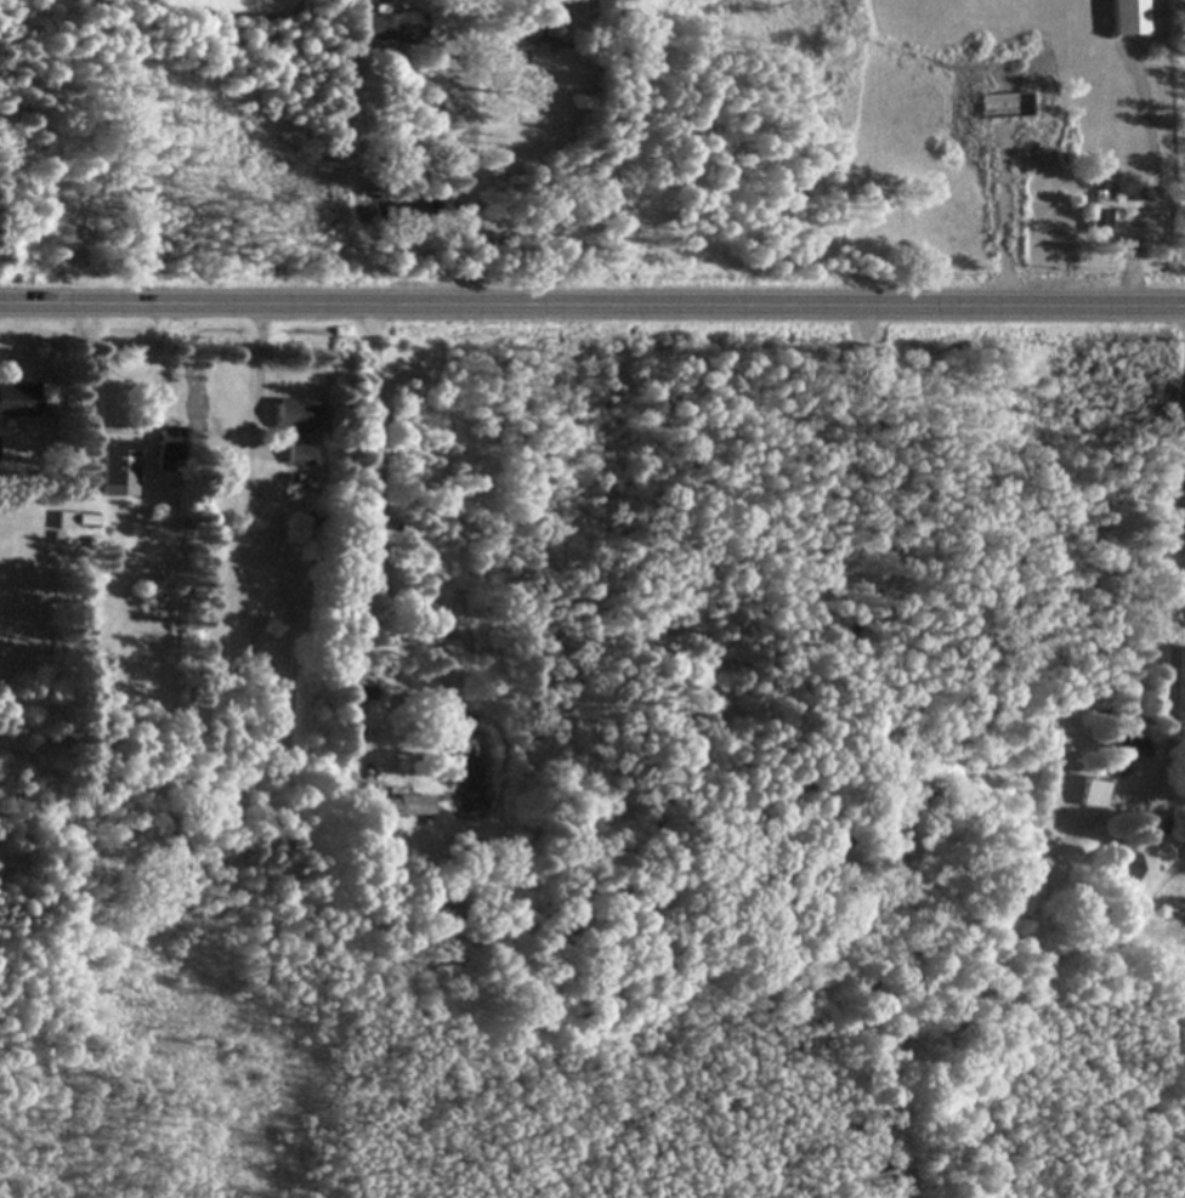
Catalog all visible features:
building: (1128, 17)
building: (391, 28)
building: (520, 45)
building: (1005, 107)
road: (1161, 181)
road: (475, 191)
building: (1099, 222)
road: (591, 301)
road: (260, 369)
road: (126, 381)
building: (18, 401)
building: (294, 428)
building: (168, 450)
building: (117, 473)
building: (74, 522)
road: (380, 523)
road: (1178, 620)
building: (364, 693)
building: (1121, 749)
building: (356, 789)
building: (1092, 794)
building: (406, 808)
building: (1121, 869)

